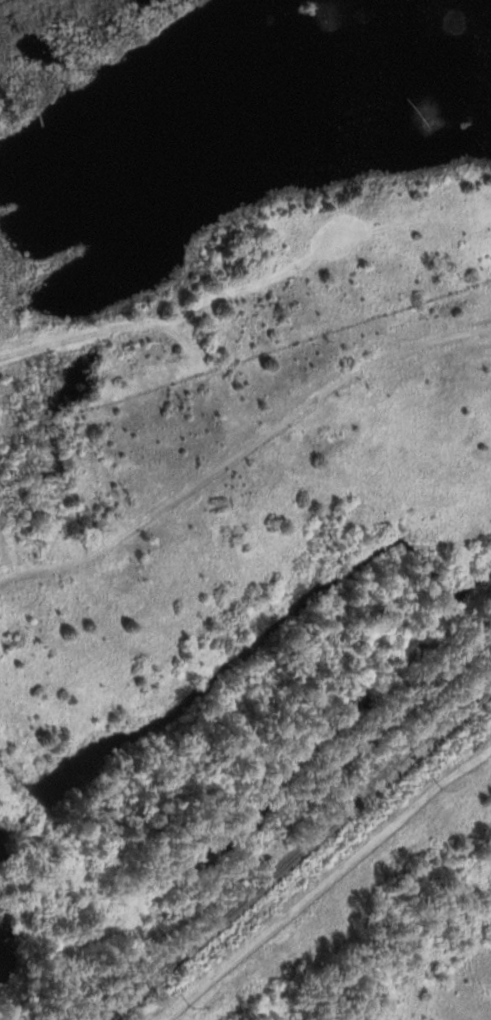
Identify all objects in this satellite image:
power tower: (443, 790)
railway: (304, 860)
power tower: (194, 1008)

